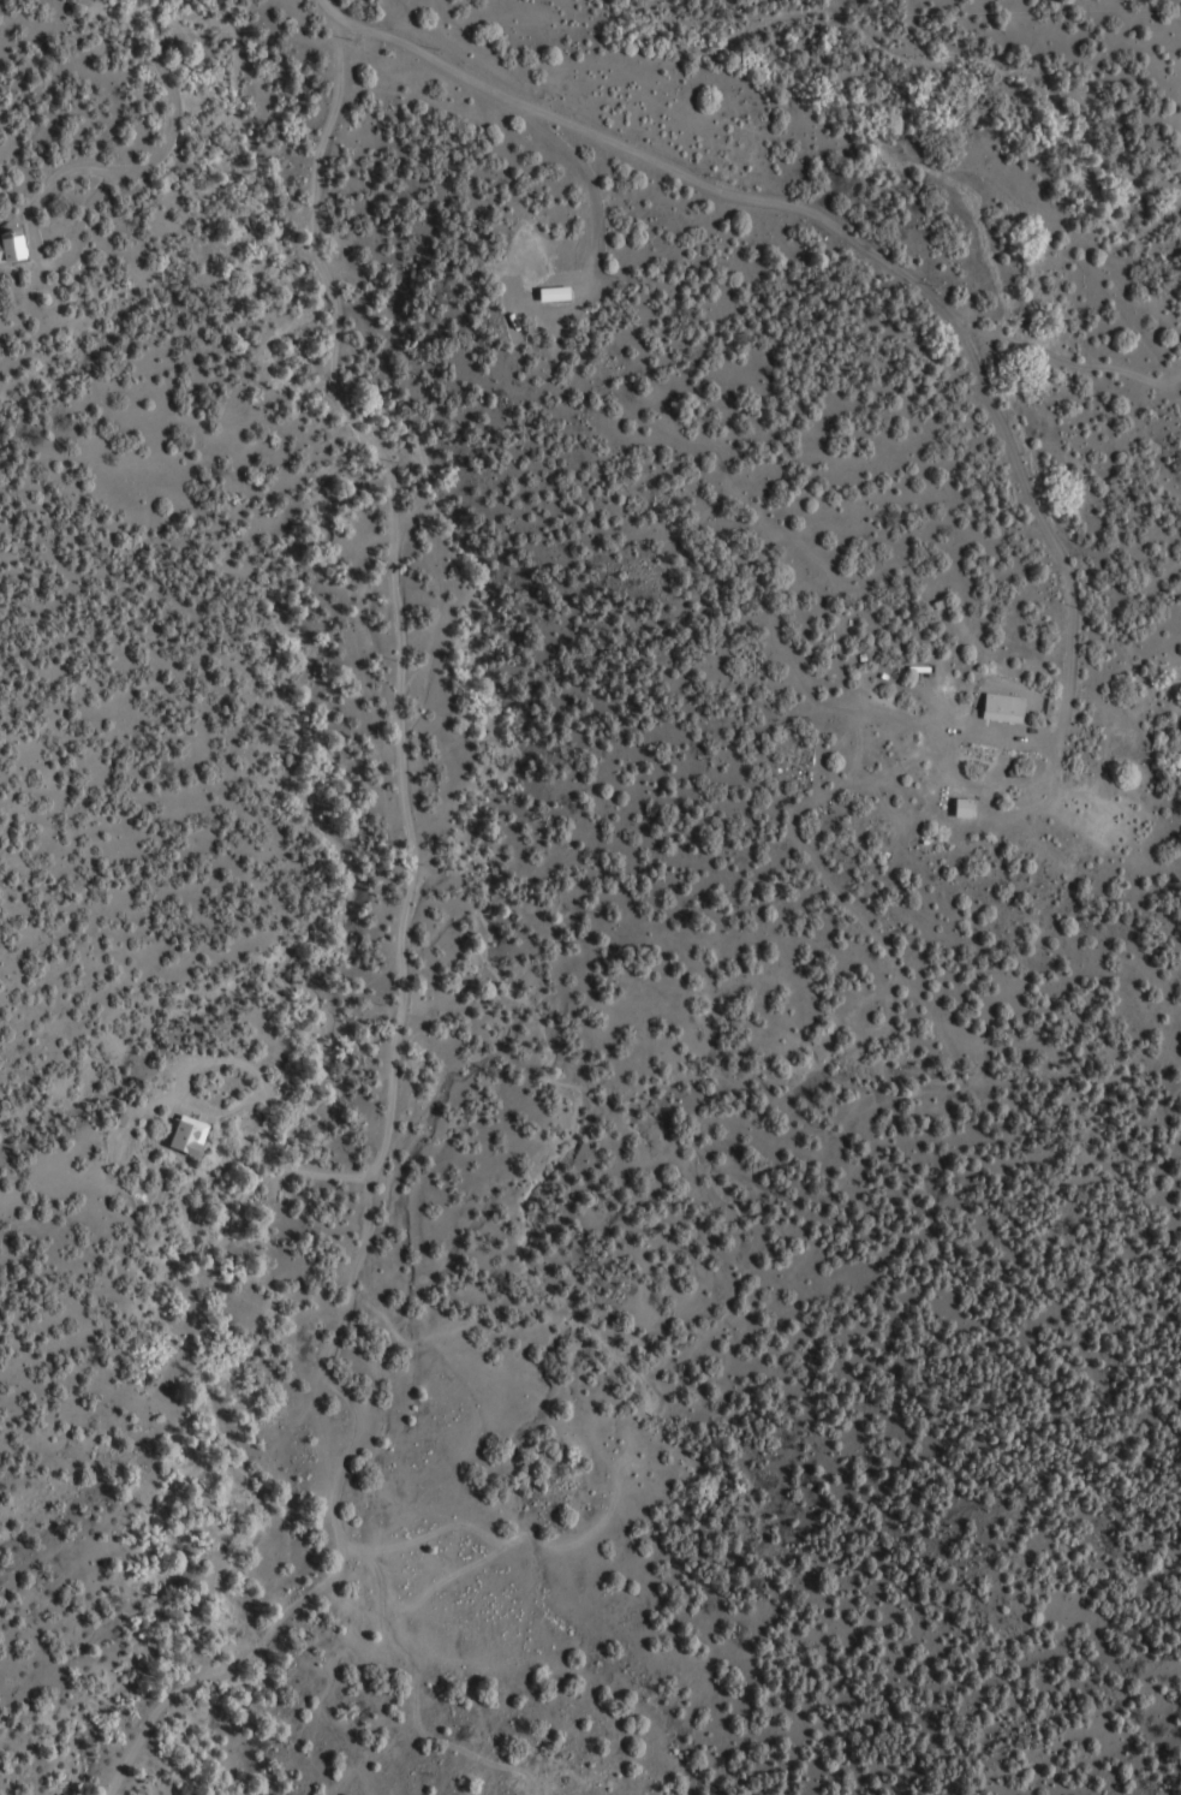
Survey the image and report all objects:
road: (779, 202)
building: (14, 248)
building: (1009, 708)
building: (968, 809)
building: (193, 1137)

